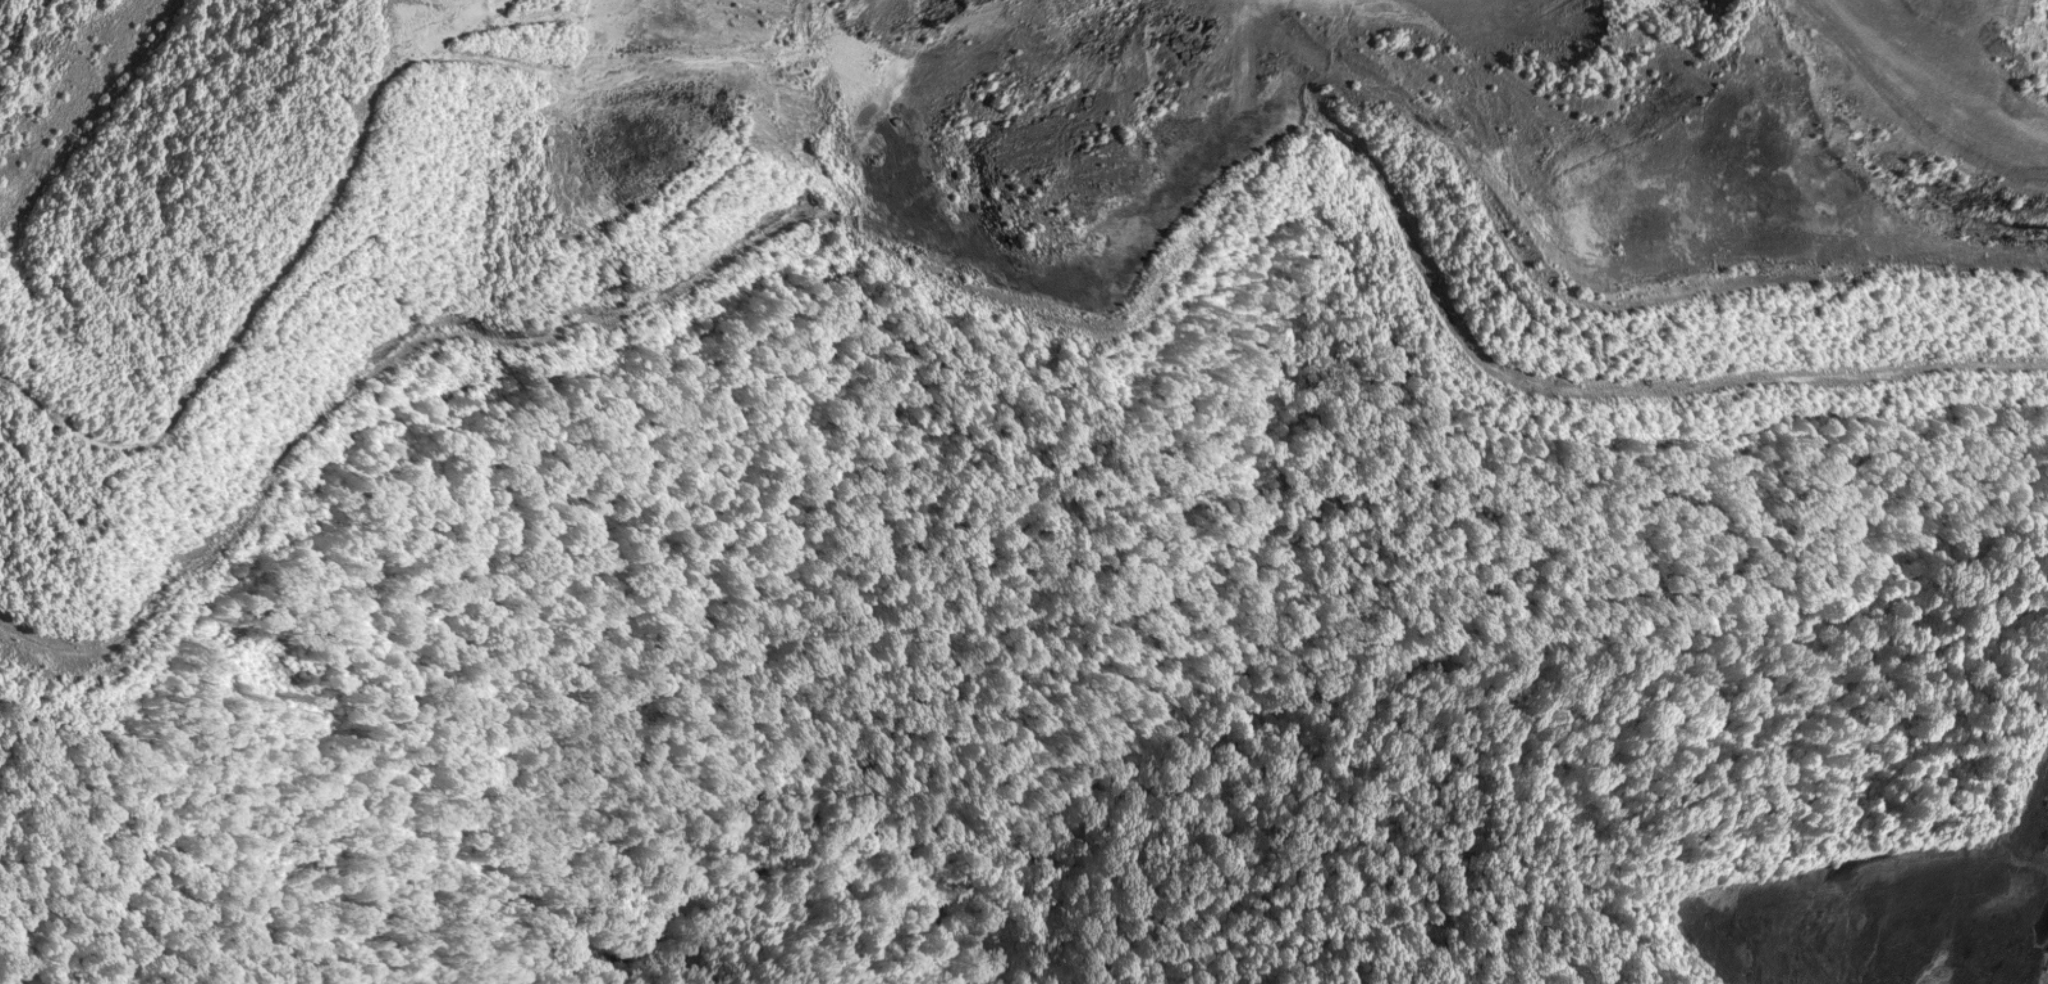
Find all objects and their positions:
quarry: (1024, 492)
road: (1344, 661)

